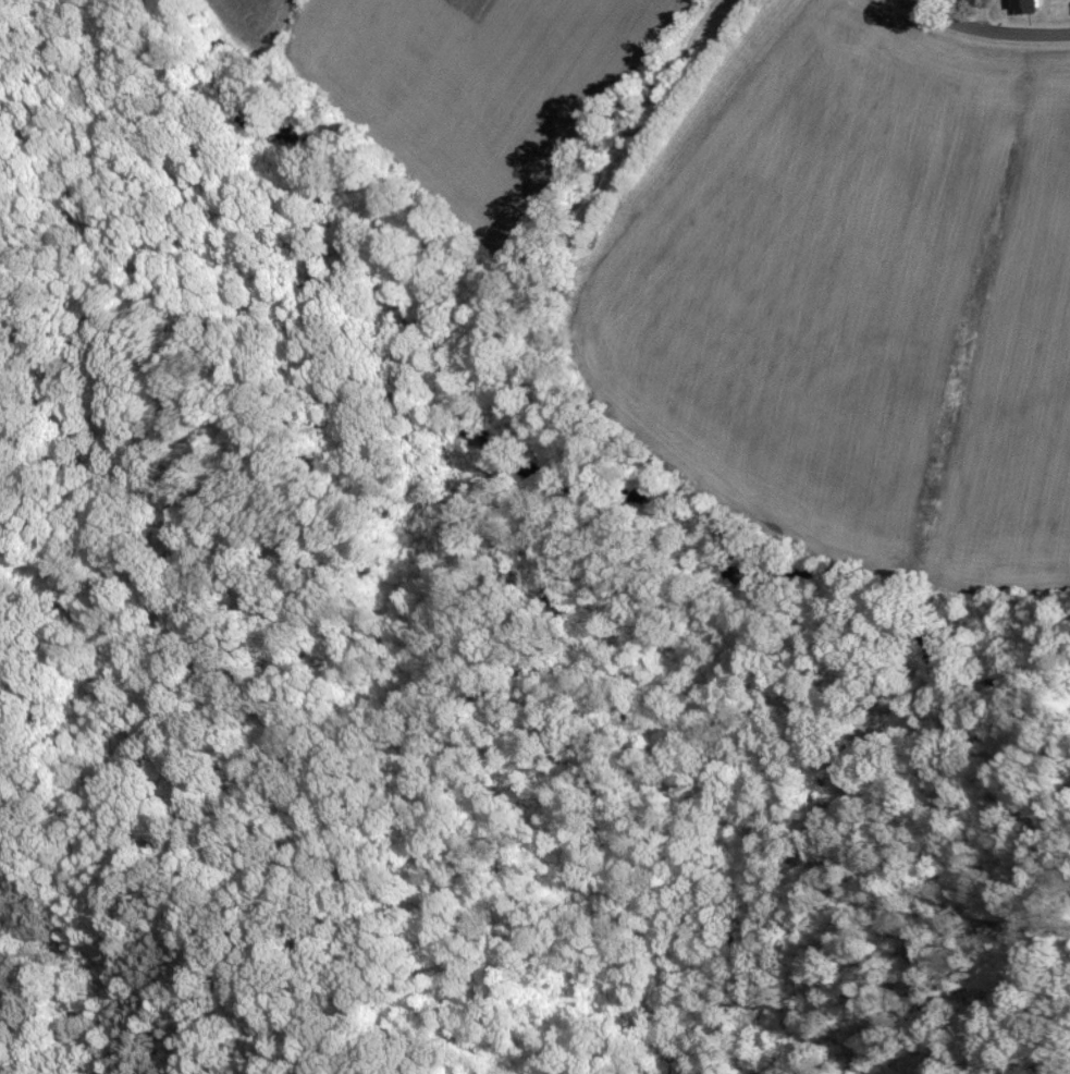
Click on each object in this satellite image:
building: (1018, 7)
road: (984, 28)

